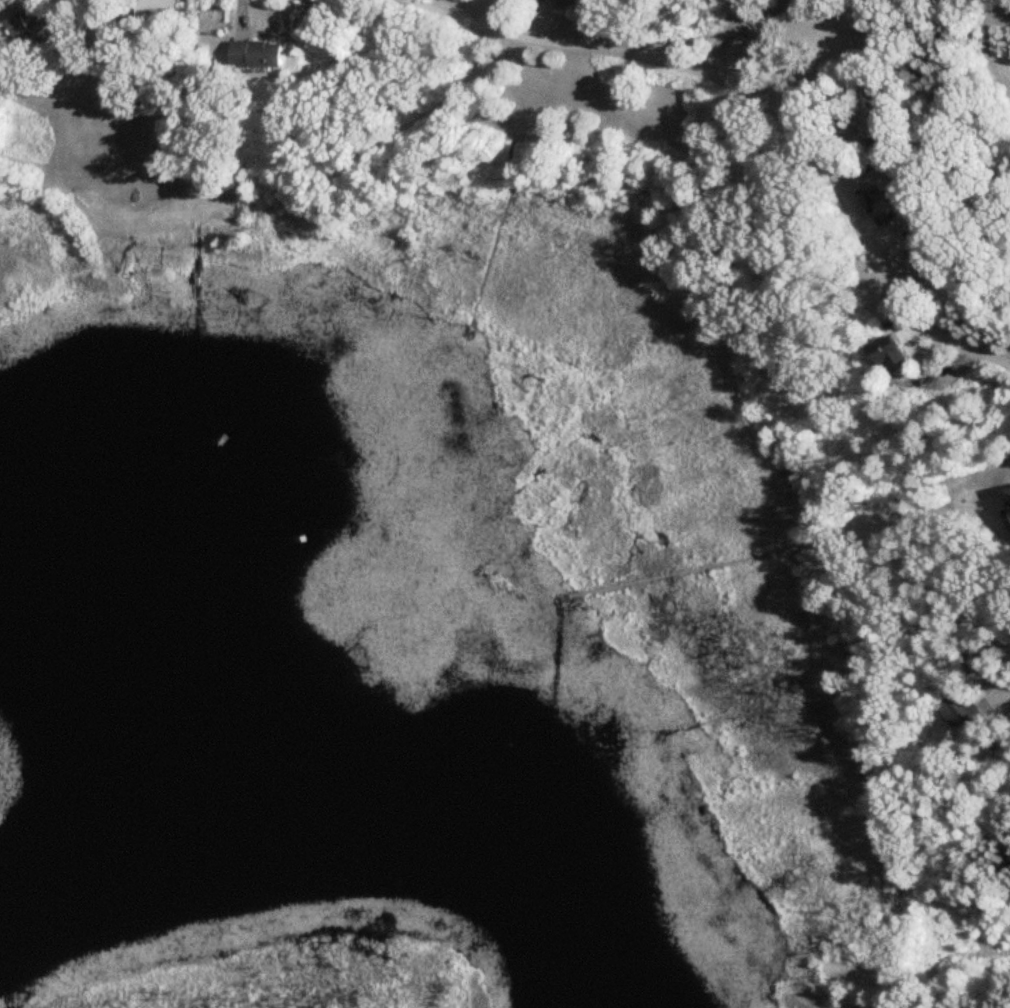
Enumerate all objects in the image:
building: (542, 0)
building: (566, 7)
building: (158, 10)
road: (742, 22)
building: (26, 24)
building: (746, 53)
building: (257, 54)
road: (766, 104)
building: (881, 148)
building: (880, 208)
building: (889, 354)
building: (986, 678)
road: (1005, 692)
building: (964, 711)

